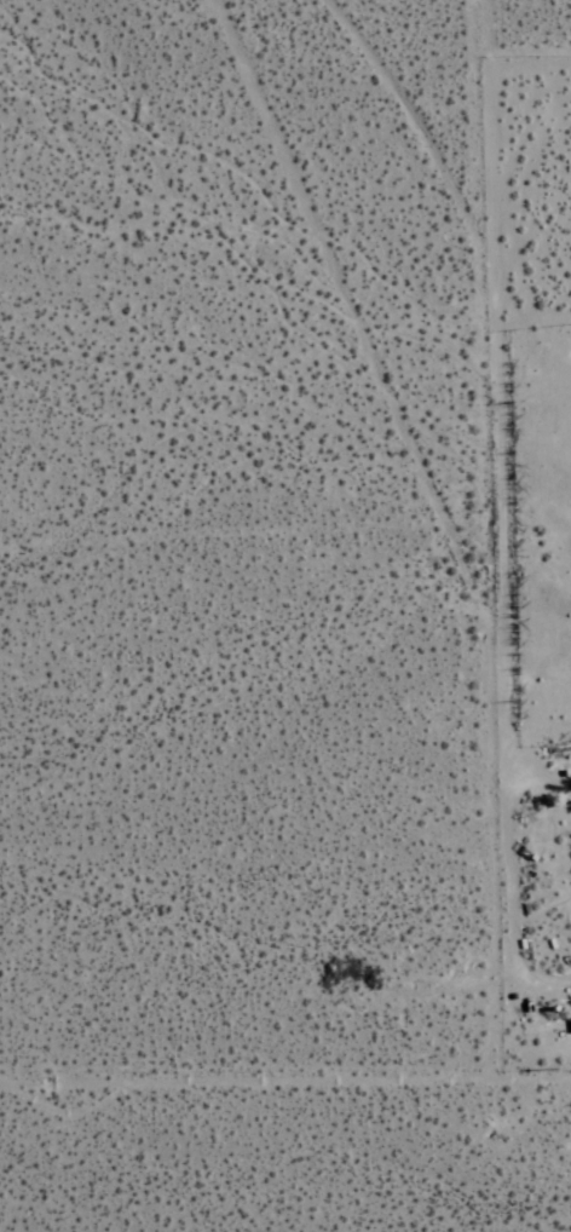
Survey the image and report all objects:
road: (483, 117)
road: (402, 119)
road: (486, 655)
road: (527, 1073)
road: (242, 1076)

